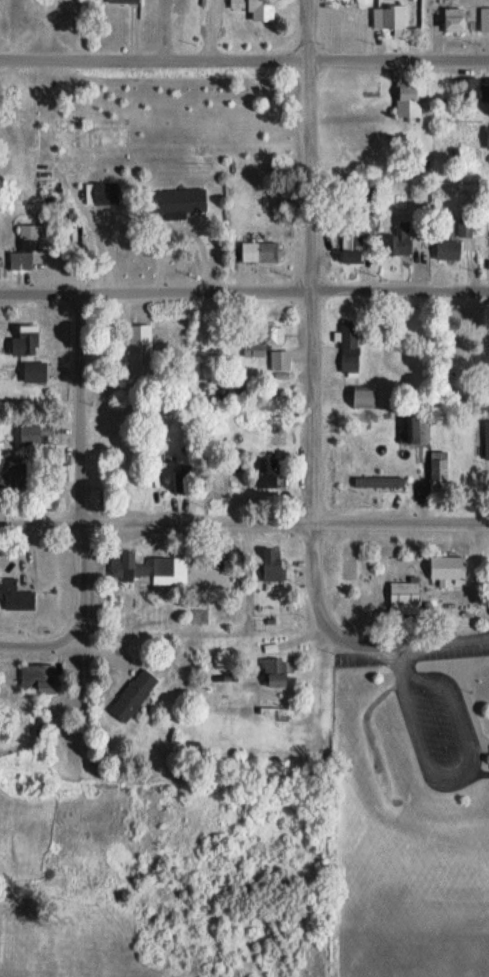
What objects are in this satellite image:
building: (122, 1)
building: (235, 4)
building: (261, 10)
building: (389, 17)
building: (454, 19)
building: (484, 19)
road: (244, 56)
building: (472, 90)
building: (407, 99)
building: (487, 137)
building: (104, 192)
building: (179, 200)
building: (401, 241)
building: (352, 243)
building: (448, 250)
building: (260, 251)
road: (314, 259)
building: (21, 261)
road: (244, 293)
building: (272, 335)
building: (26, 342)
building: (350, 346)
building: (139, 350)
building: (285, 355)
building: (35, 372)
building: (231, 393)
building: (419, 429)
building: (30, 434)
building: (487, 440)
building: (439, 466)
building: (13, 471)
road: (83, 471)
building: (266, 475)
building: (379, 482)
road: (244, 521)
building: (141, 566)
building: (273, 566)
building: (447, 570)
road: (313, 578)
building: (404, 594)
building: (15, 596)
road: (441, 640)
road: (359, 643)
road: (37, 646)
road: (401, 661)
building: (275, 673)
building: (38, 678)
building: (133, 695)
parking lot: (444, 715)
road: (459, 769)
parking lot: (449, 783)

